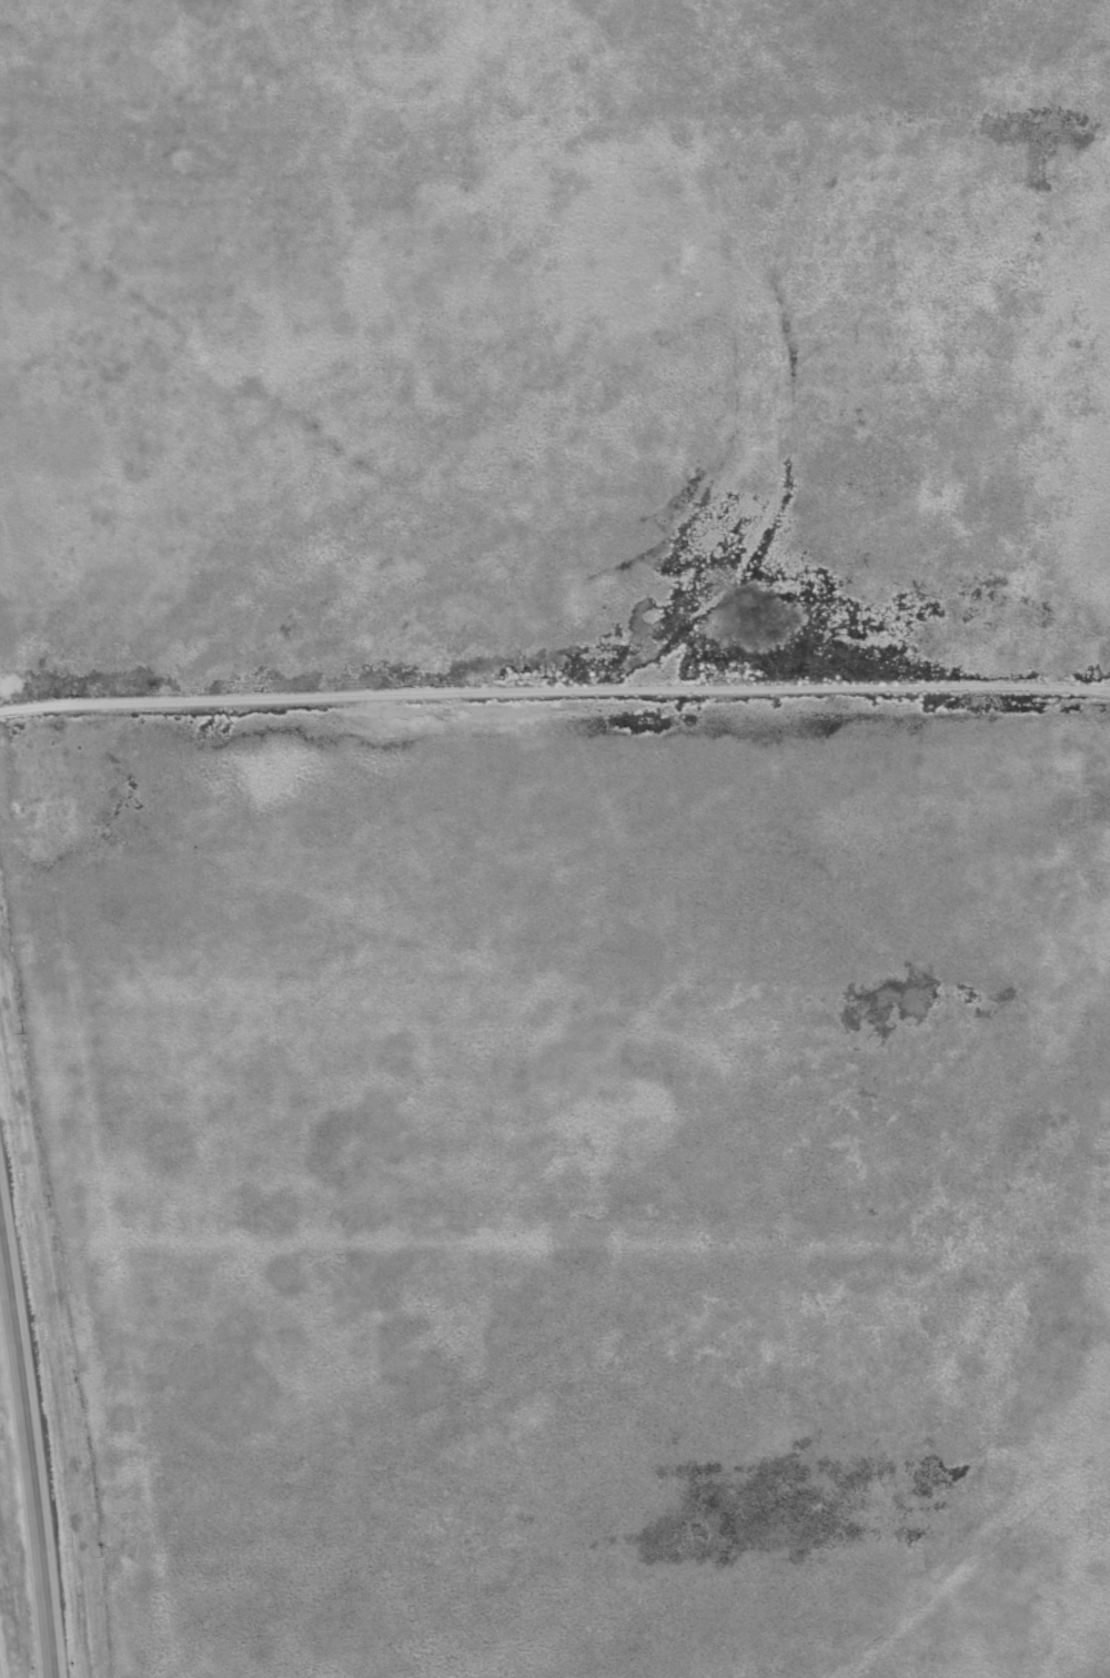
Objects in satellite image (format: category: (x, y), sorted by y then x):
road: (27, 1473)

